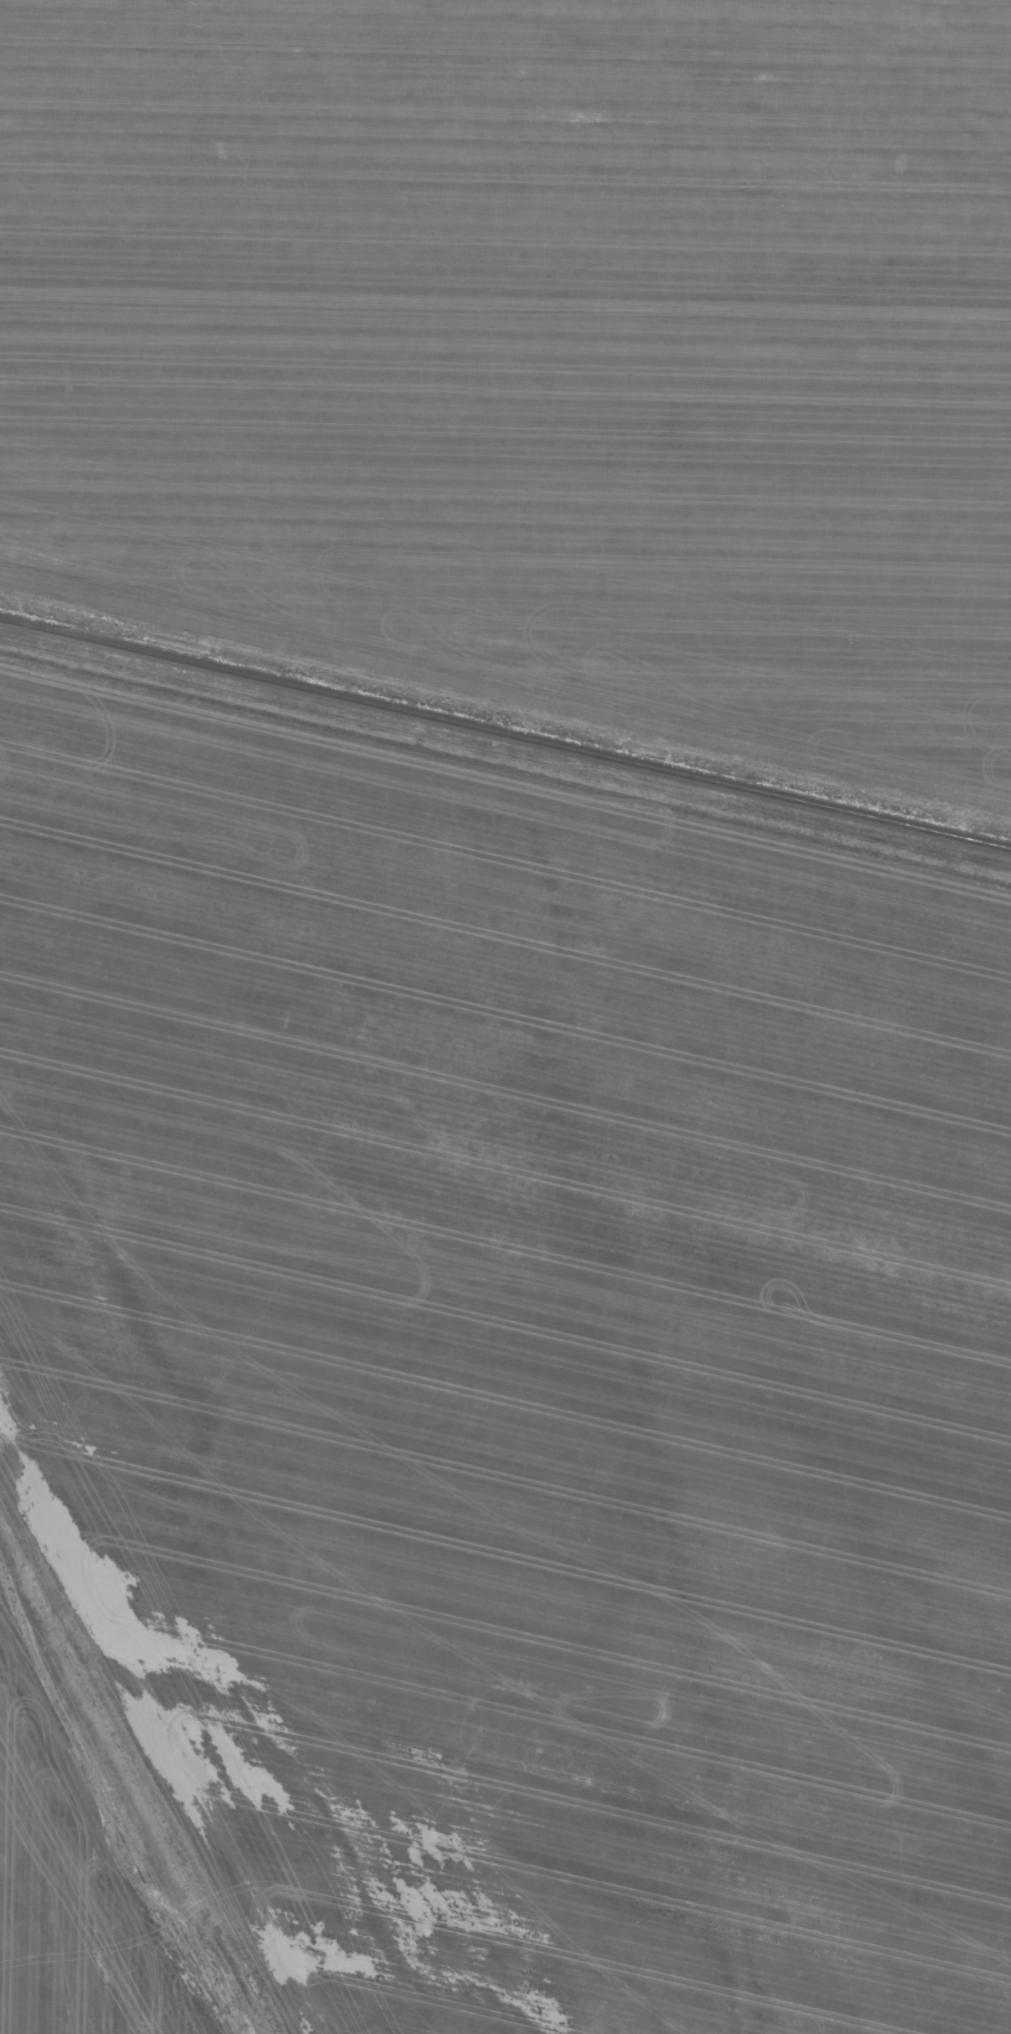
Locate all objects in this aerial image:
railway: (505, 735)

